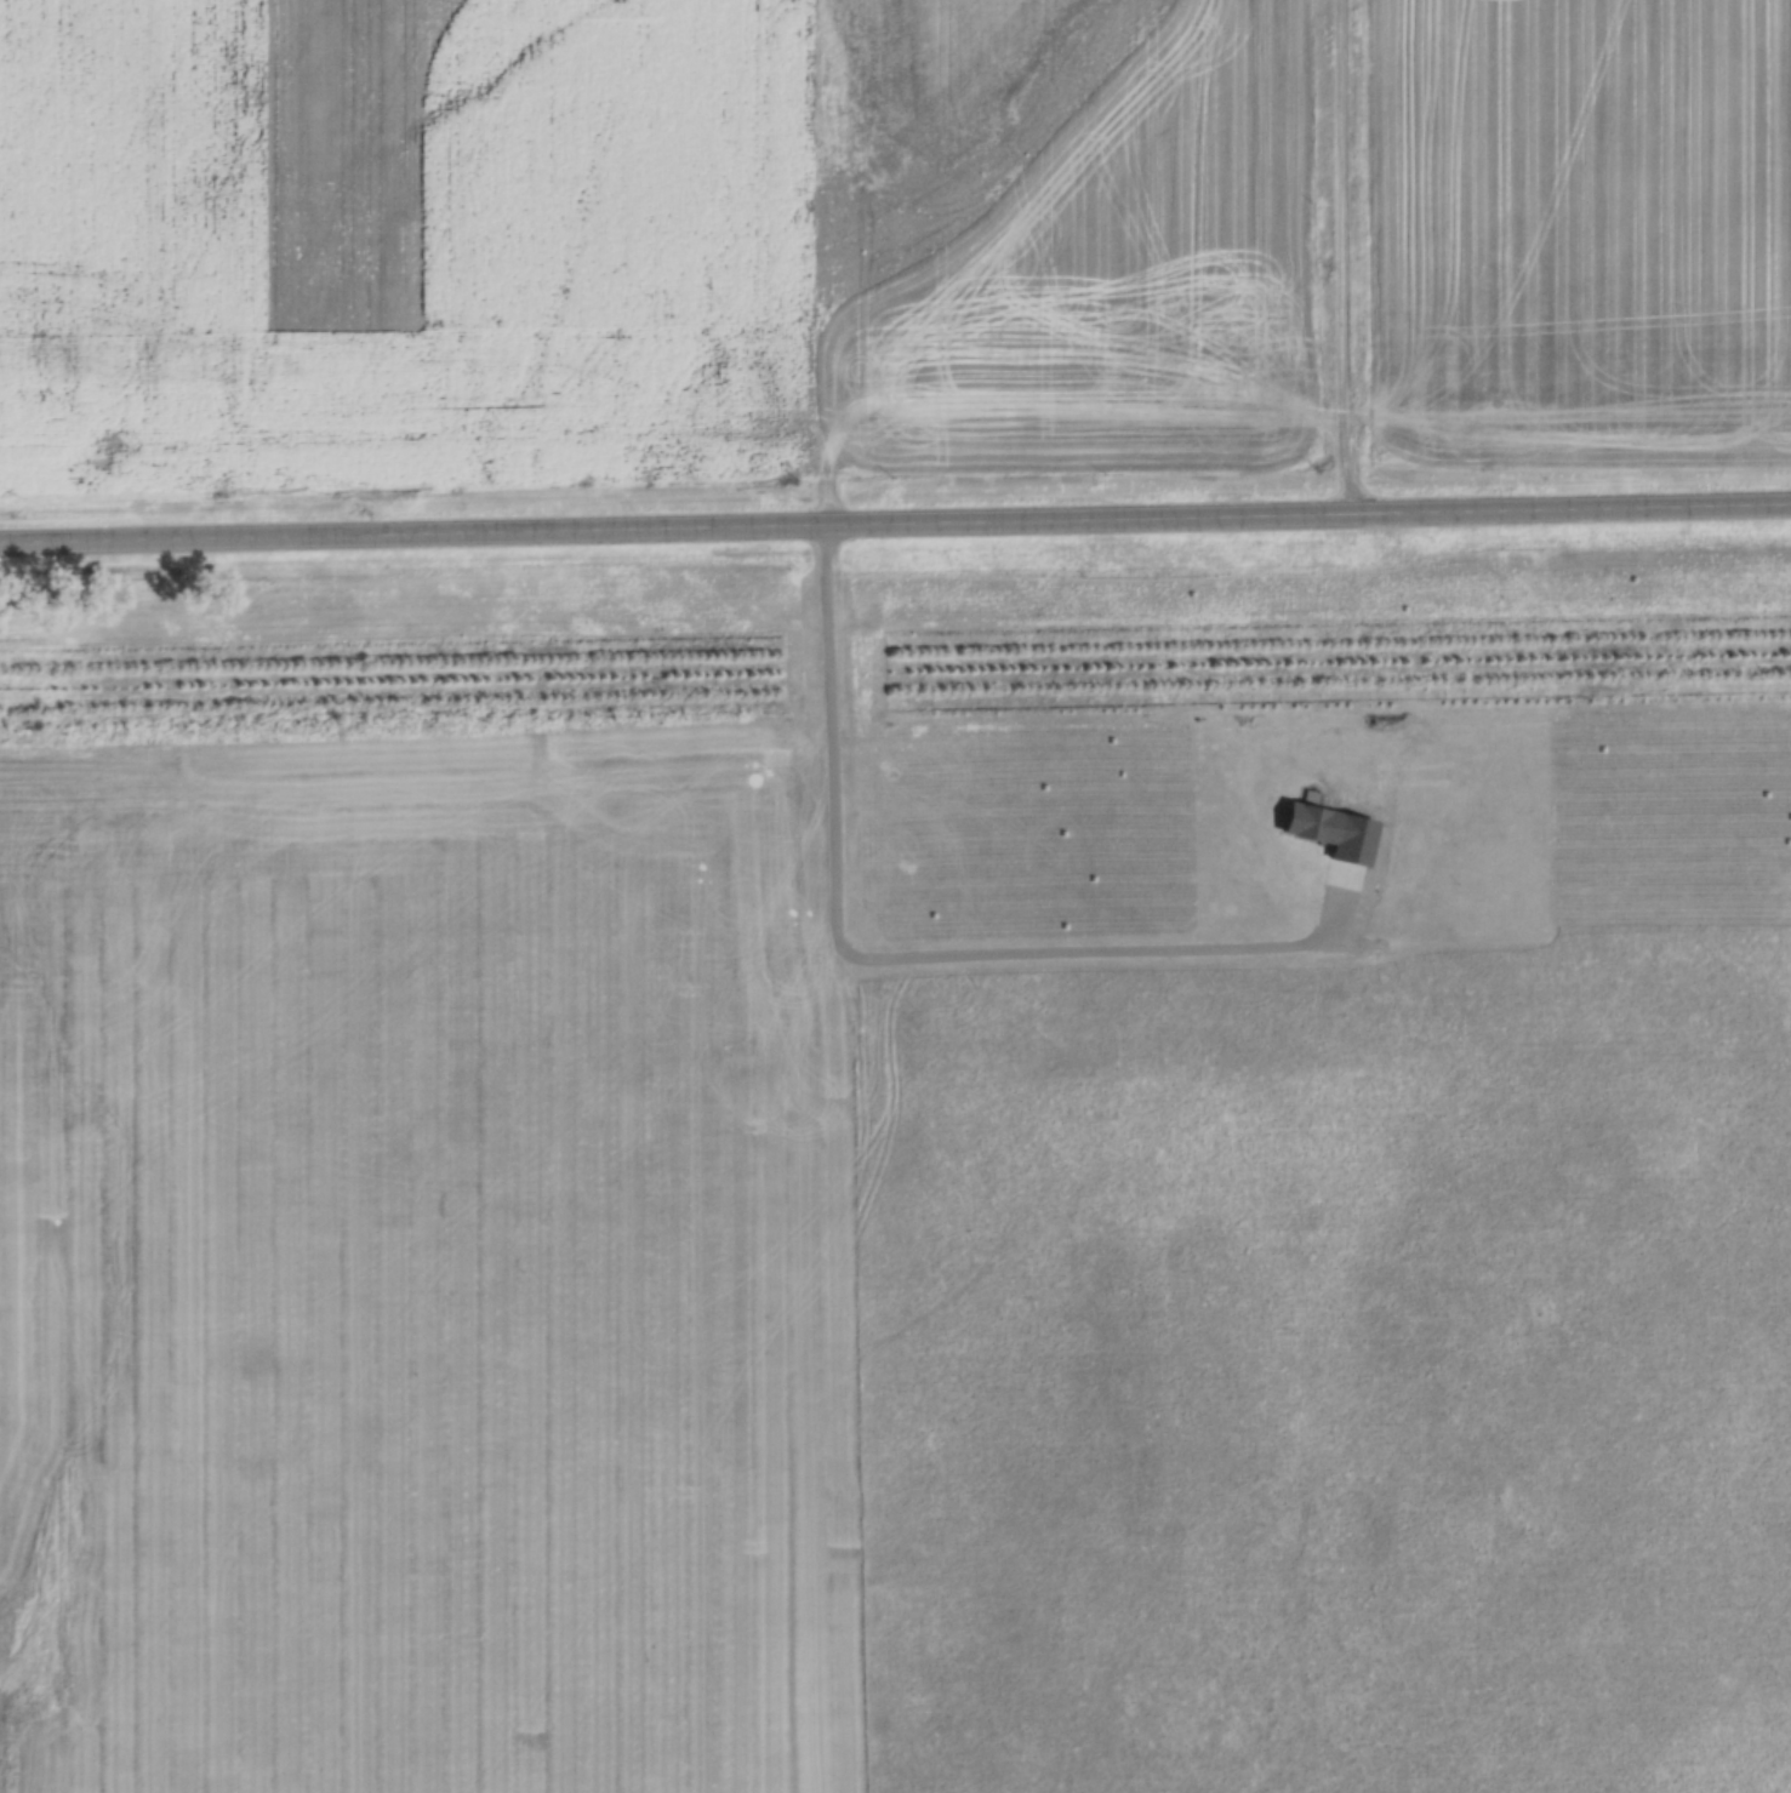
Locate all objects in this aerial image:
road: (895, 518)

